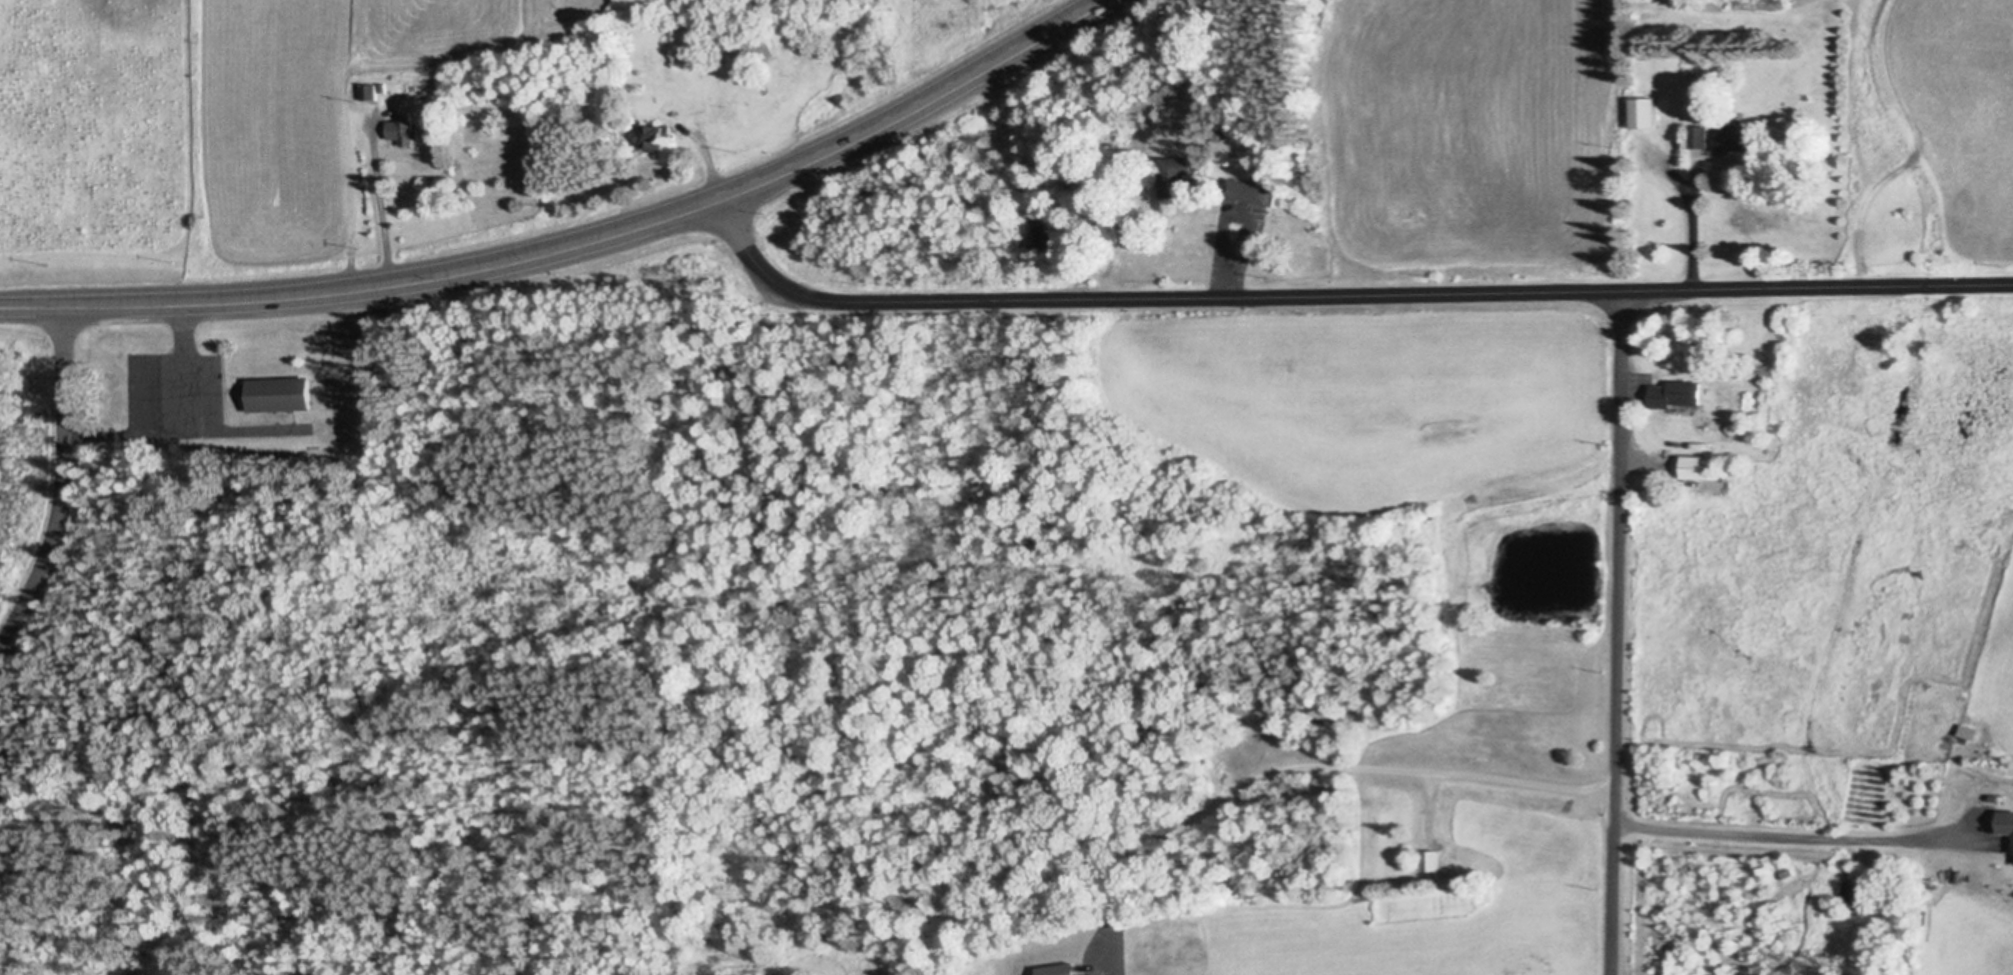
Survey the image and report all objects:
road: (923, 110)
road: (1915, 153)
road: (711, 174)
road: (381, 208)
road: (1693, 240)
road: (1231, 279)
road: (366, 292)
road: (1341, 297)
road: (186, 370)
road: (183, 433)
road: (60, 487)
road: (1618, 634)
road: (1327, 772)
road: (1786, 838)

